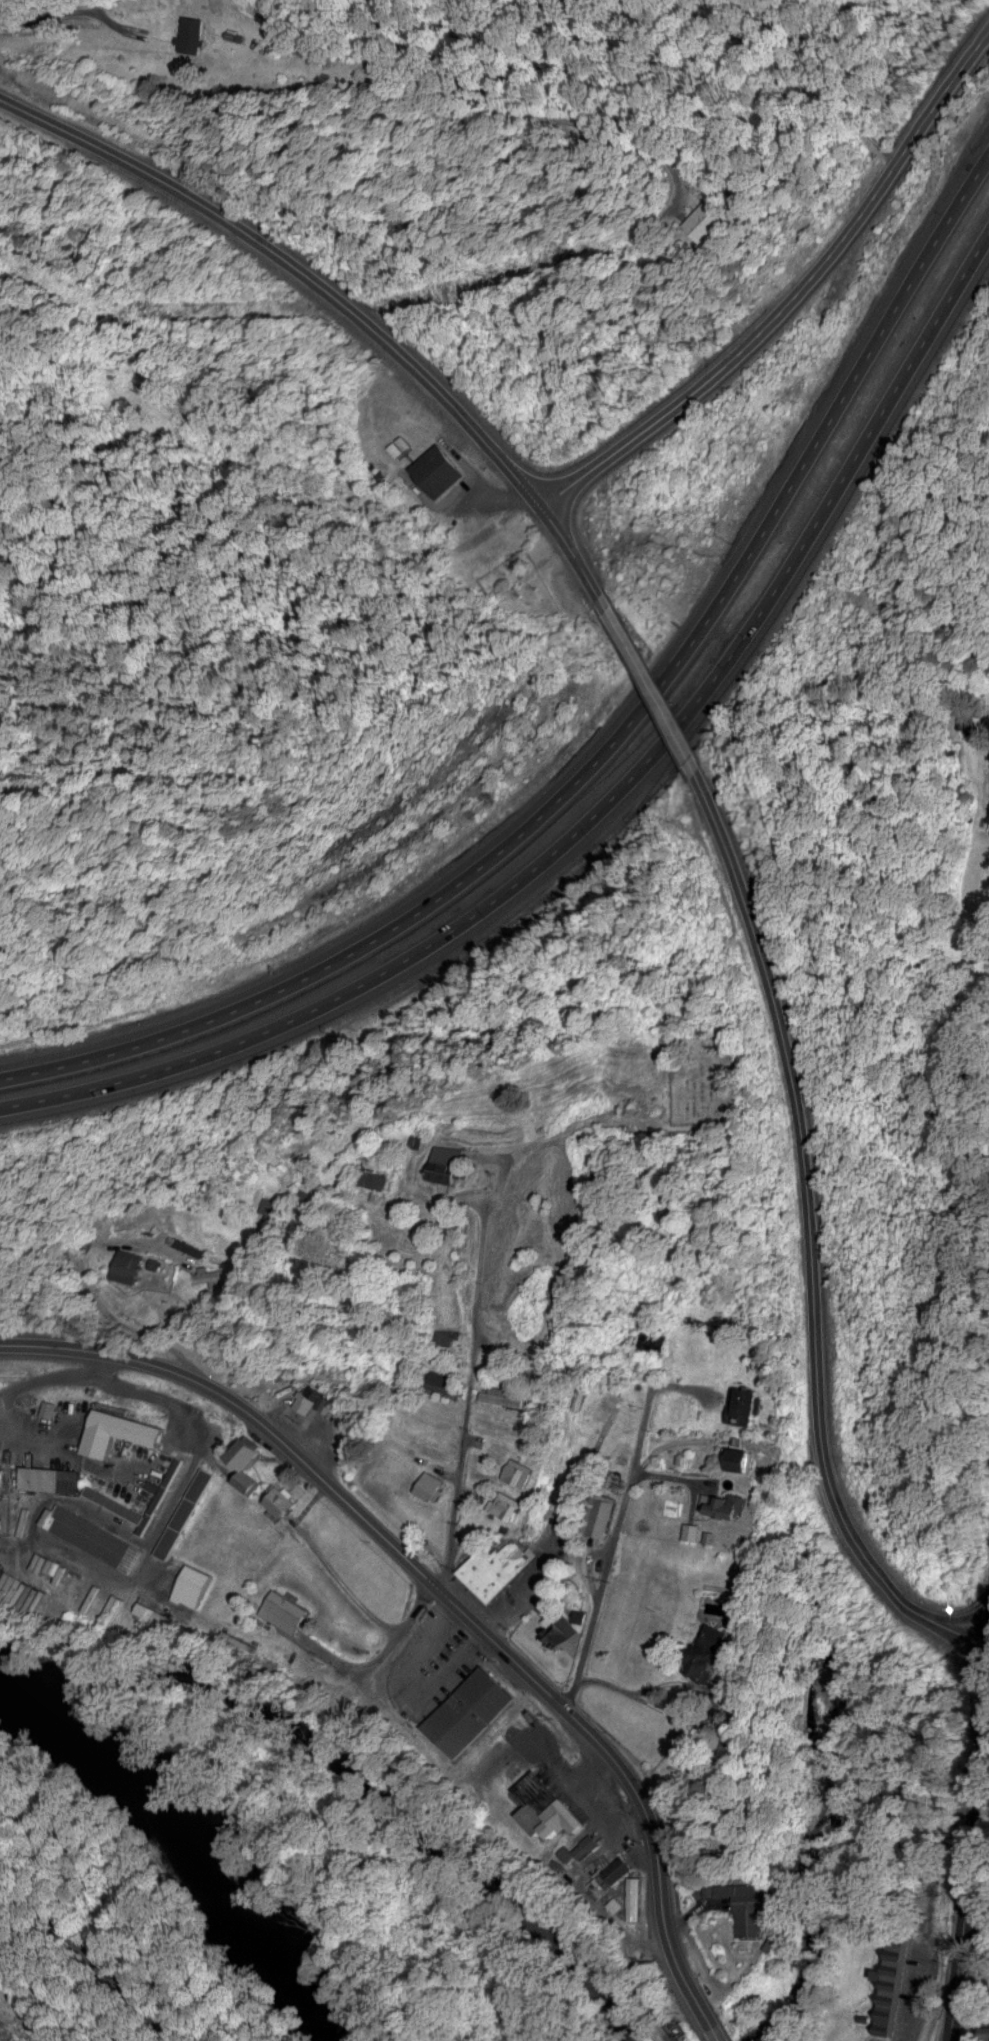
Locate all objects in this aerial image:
road: (50, 15)
building: (187, 27)
building: (717, 222)
road: (341, 298)
road: (655, 424)
building: (439, 468)
road: (658, 677)
road: (610, 743)
road: (608, 807)
building: (448, 1162)
building: (374, 1173)
building: (271, 1206)
road: (812, 1233)
building: (132, 1264)
building: (215, 1273)
road: (109, 1287)
building: (449, 1336)
building: (445, 1381)
road: (469, 1394)
building: (503, 1396)
building: (308, 1397)
building: (746, 1404)
building: (50, 1406)
building: (122, 1432)
building: (742, 1457)
building: (247, 1464)
building: (521, 1470)
building: (54, 1478)
building: (433, 1485)
building: (116, 1502)
building: (726, 1502)
building: (509, 1504)
building: (184, 1512)
building: (603, 1515)
building: (94, 1536)
road: (605, 1555)
building: (498, 1577)
building: (194, 1585)
road: (451, 1598)
building: (285, 1609)
building: (714, 1642)
road: (411, 1685)
building: (473, 1705)
building: (549, 1803)
river: (192, 1838)
building: (589, 1845)
road: (969, 1864)
building: (617, 1867)
building: (928, 1886)
building: (635, 1898)
building: (748, 1907)
road: (66, 1962)
building: (893, 1977)
road: (912, 1989)
building: (986, 2032)

